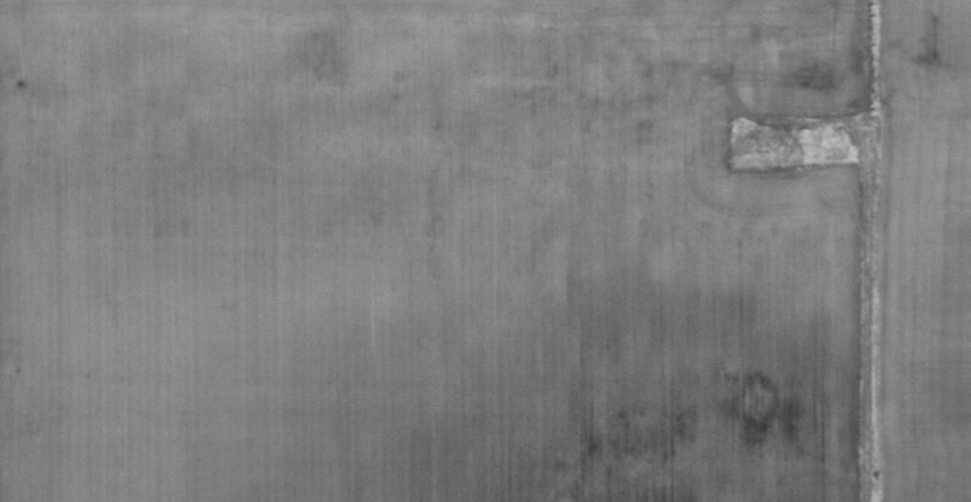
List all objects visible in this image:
road: (889, 251)

